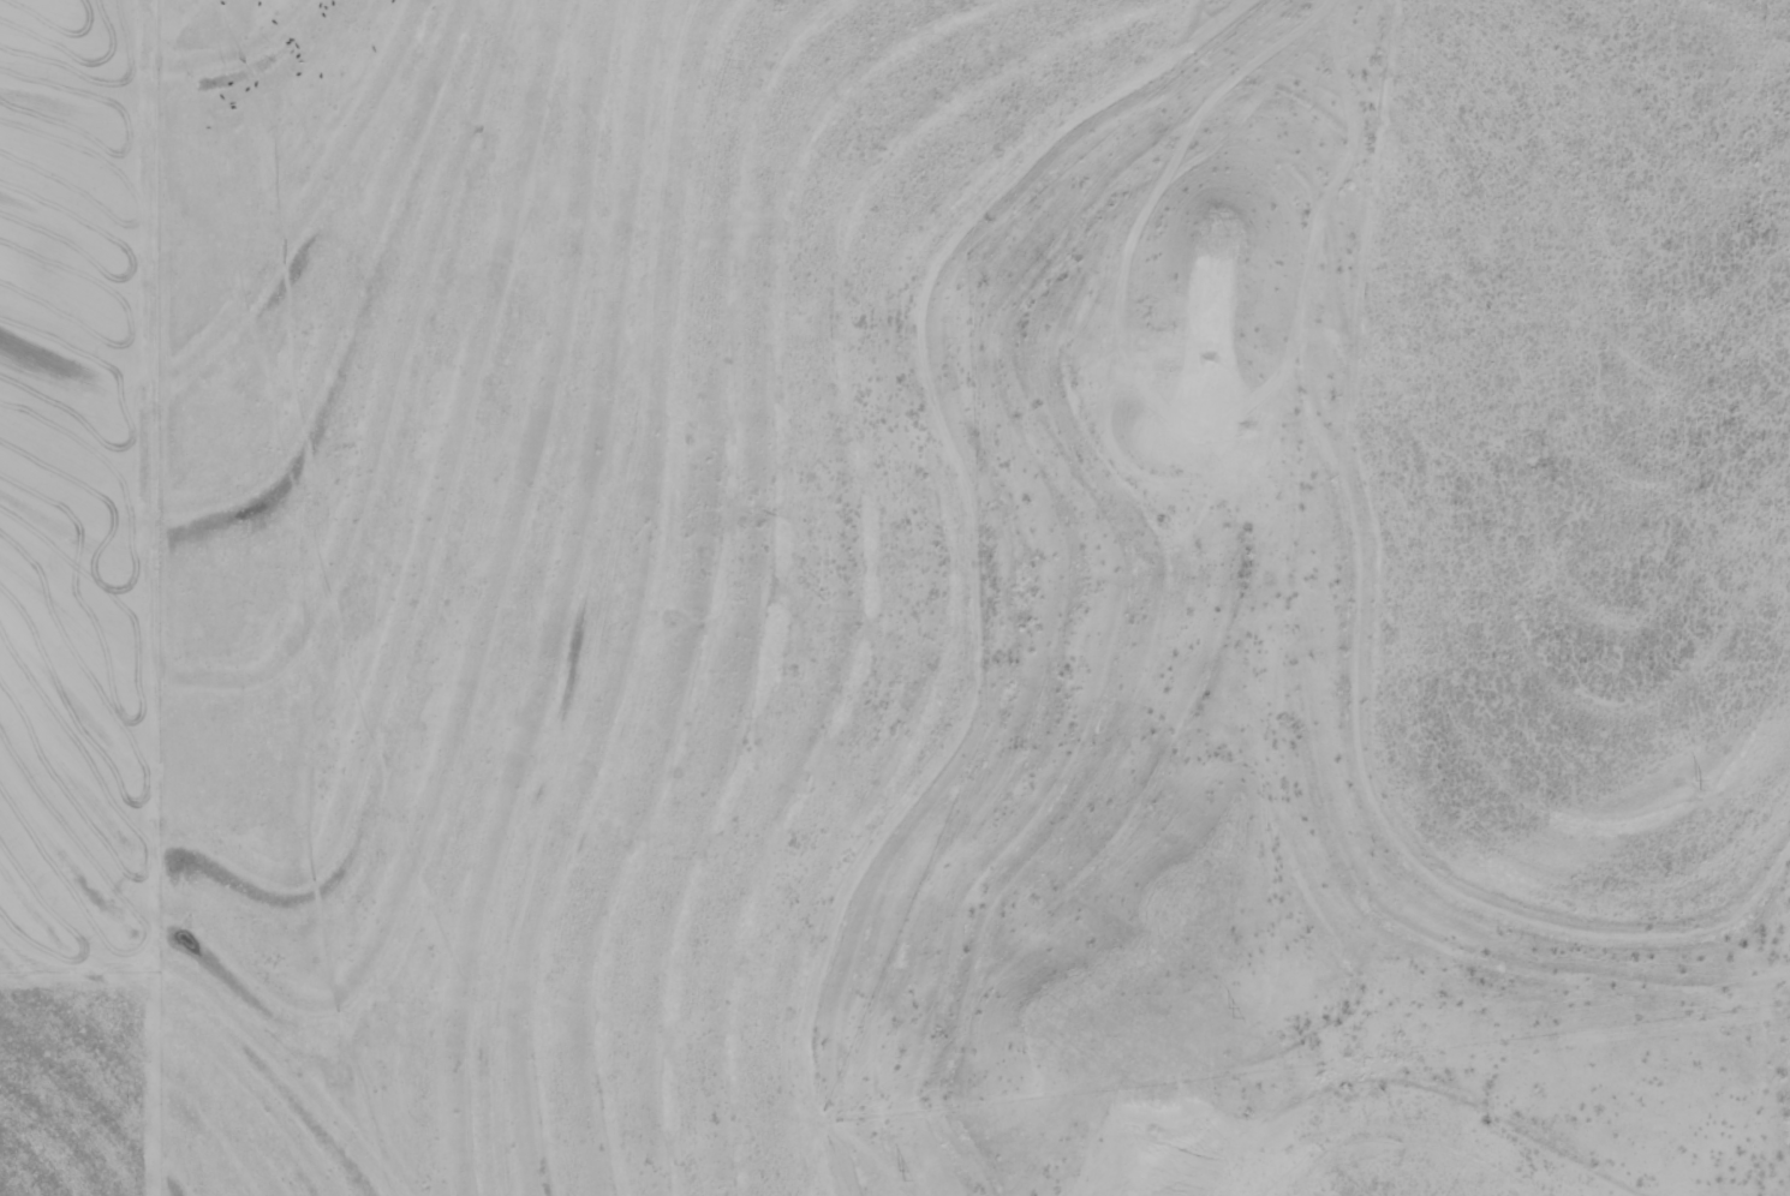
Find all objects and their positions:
power tower: (1700, 781)
power tower: (1234, 1012)
power tower: (903, 1172)

